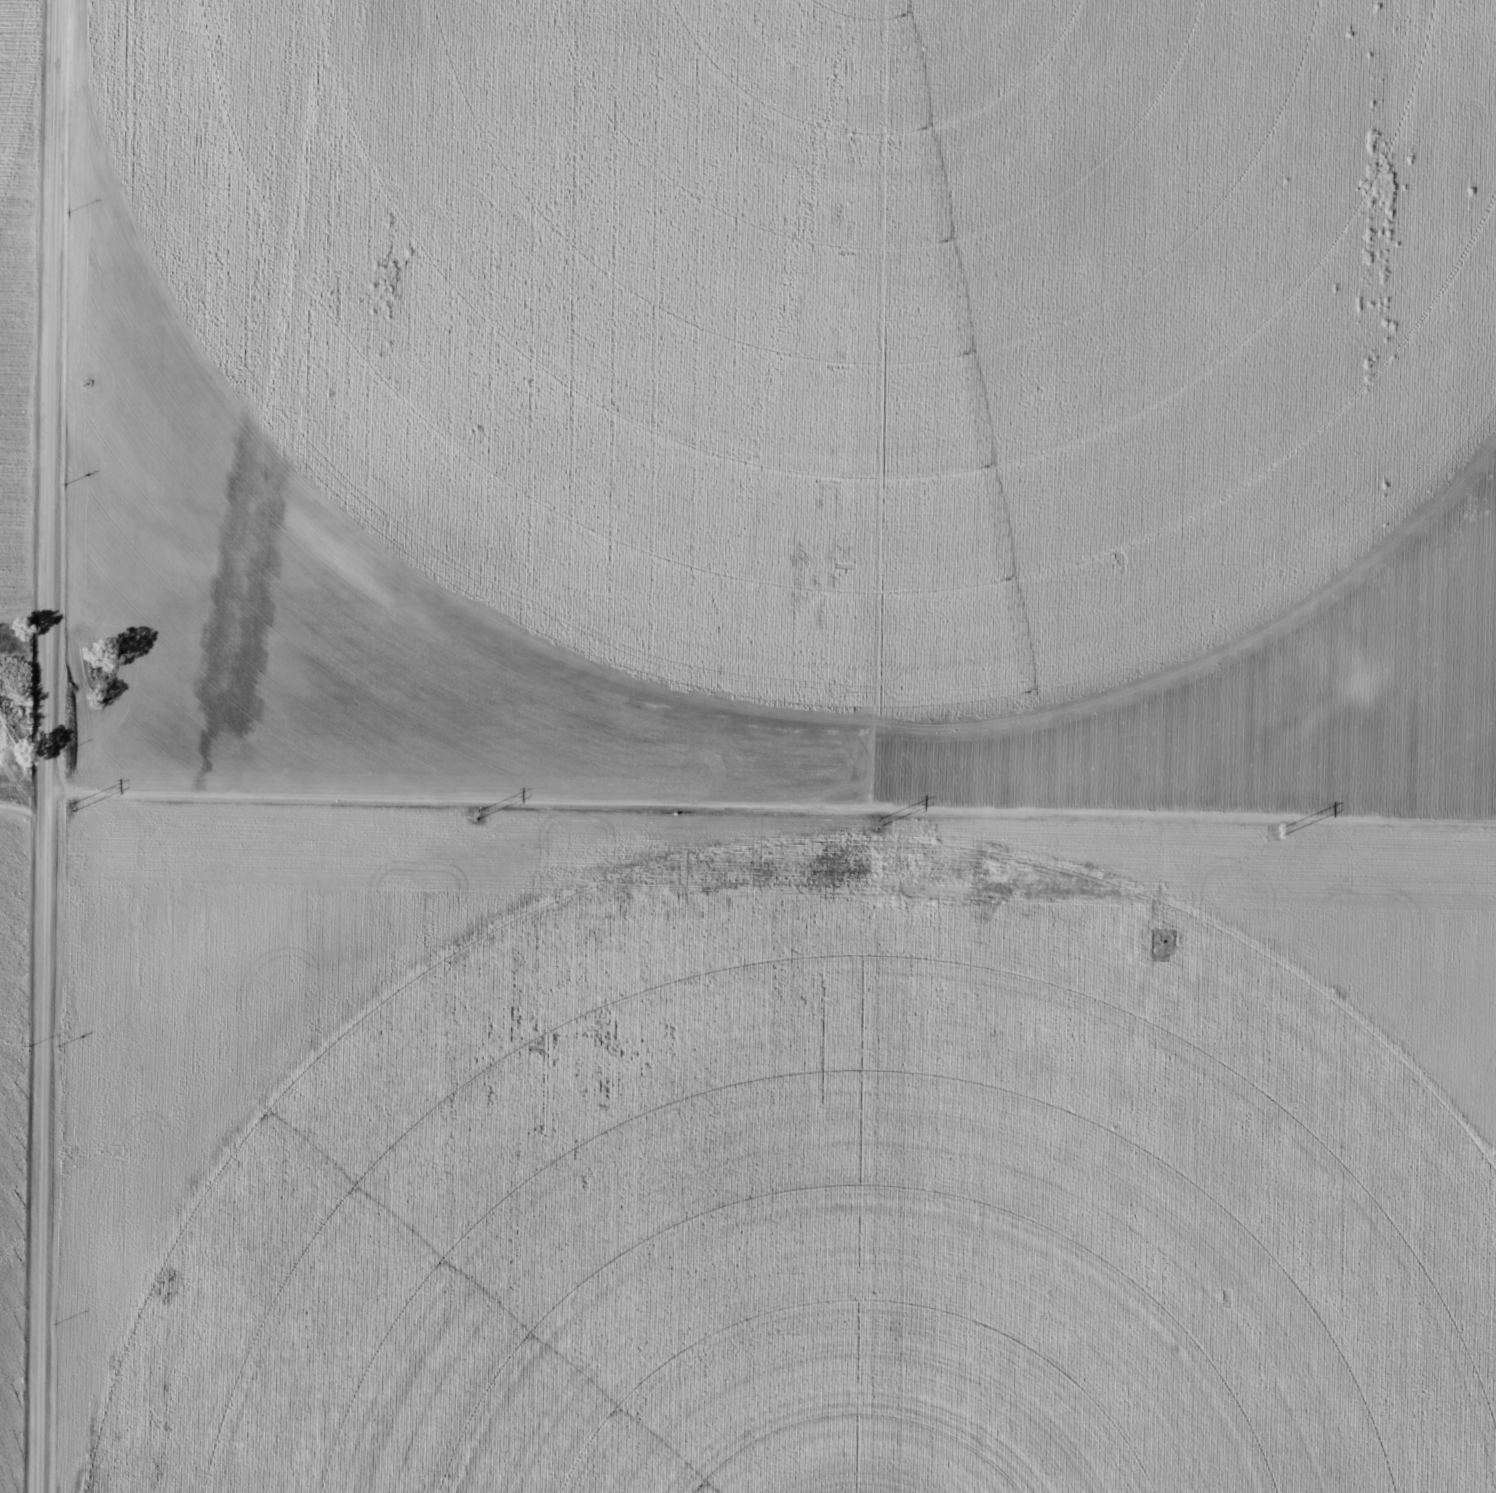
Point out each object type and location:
road: (50, 746)
road: (747, 826)

